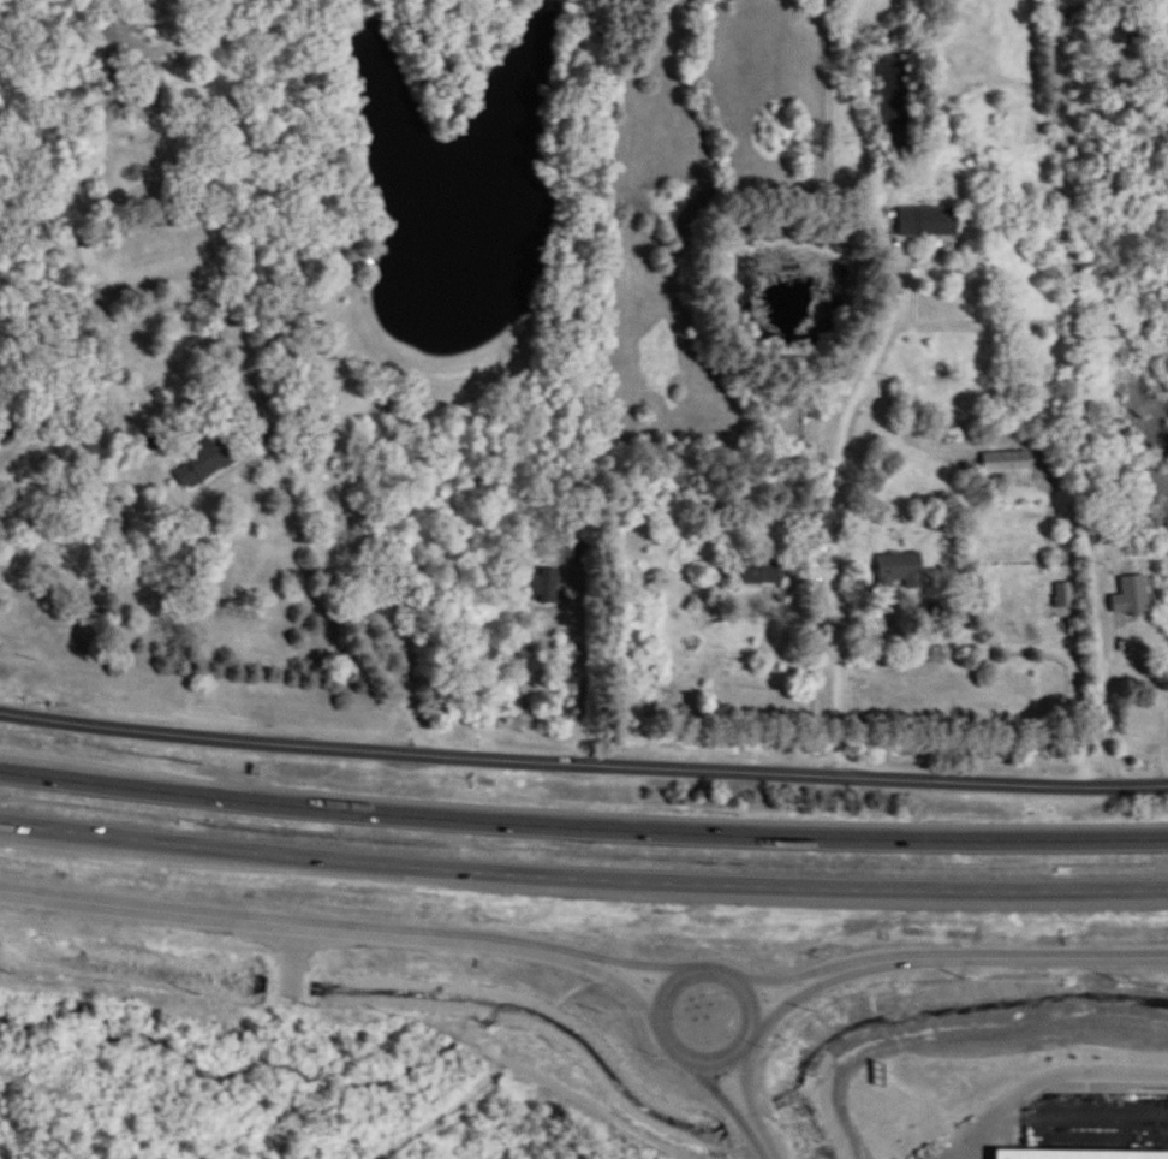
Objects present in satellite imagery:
building: (141, 69)
building: (926, 222)
building: (84, 268)
road: (274, 442)
building: (213, 462)
building: (1006, 471)
road: (835, 525)
building: (900, 569)
building: (761, 575)
building: (546, 588)
building: (1066, 596)
road: (1055, 638)
road: (579, 667)
road: (1143, 687)
road: (582, 750)
road: (582, 825)
road: (582, 881)
road: (297, 920)
road: (995, 958)
road: (637, 967)
road: (783, 982)
road: (627, 985)
road: (788, 1002)
road: (757, 1012)
road: (522, 1069)
road: (1043, 1077)
road: (746, 1089)
road: (721, 1092)
road: (1106, 1116)
road: (764, 1143)

